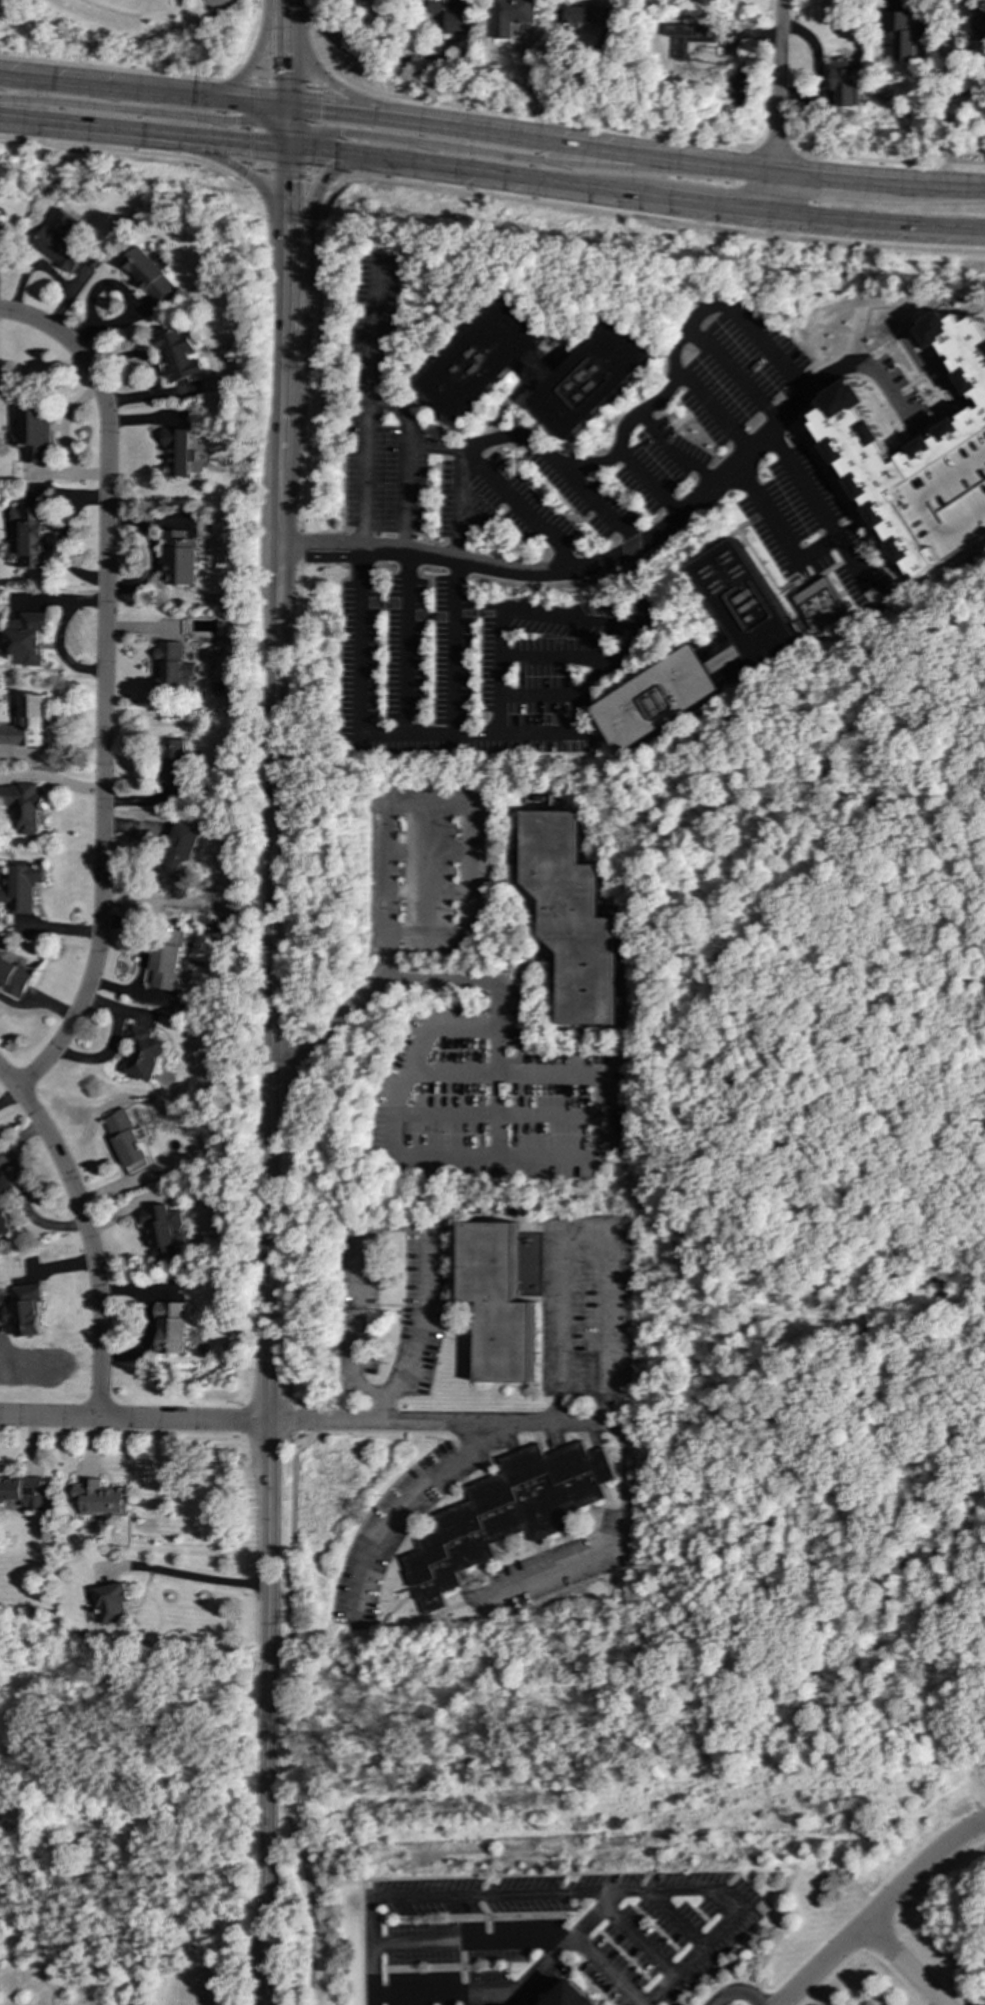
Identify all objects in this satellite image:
road: (213, 4)
road: (267, 8)
road: (285, 8)
building: (451, 14)
road: (276, 16)
building: (510, 16)
building: (589, 16)
road: (285, 23)
building: (978, 26)
building: (904, 34)
park: (131, 38)
building: (699, 39)
road: (363, 55)
road: (248, 67)
road: (285, 67)
road: (121, 70)
traffic signals: (285, 71)
road: (246, 72)
road: (320, 76)
road: (321, 79)
road: (284, 82)
building: (844, 82)
road: (565, 83)
road: (142, 88)
road: (946, 94)
road: (254, 105)
traffic signals: (285, 105)
road: (313, 105)
road: (777, 107)
traffic signals: (318, 109)
road: (329, 110)
road: (144, 112)
road: (539, 117)
traffic signals: (234, 122)
road: (285, 127)
road: (459, 127)
road: (142, 132)
traffic signals: (338, 132)
traffic signals: (248, 144)
road: (158, 145)
road: (310, 148)
road: (253, 149)
road: (124, 150)
road: (775, 151)
road: (321, 153)
road: (499, 154)
road: (659, 156)
road: (889, 161)
road: (281, 170)
road: (248, 177)
traffic signals: (285, 181)
road: (319, 181)
road: (879, 182)
road: (734, 187)
road: (284, 189)
road: (476, 193)
road: (816, 197)
road: (671, 200)
building: (2, 235)
road: (805, 239)
building: (60, 241)
building: (147, 274)
road: (303, 298)
road: (41, 325)
road: (283, 348)
building: (178, 356)
road: (867, 368)
building: (535, 369)
road: (363, 410)
road: (309, 414)
building: (34, 434)
road: (619, 444)
building: (856, 446)
building: (177, 452)
road: (812, 505)
road: (777, 532)
building: (32, 537)
building: (179, 558)
road: (574, 568)
building: (820, 603)
building: (743, 606)
building: (27, 639)
road: (406, 643)
road: (457, 647)
building: (172, 667)
building: (658, 699)
building: (27, 722)
road: (103, 729)
road: (483, 733)
building: (173, 763)
building: (23, 806)
road: (384, 826)
building: (180, 859)
building: (22, 887)
building: (572, 916)
road: (273, 945)
building: (165, 966)
building: (14, 976)
road: (37, 1004)
building: (142, 1055)
road: (484, 1117)
road: (602, 1139)
building: (126, 1141)
road: (419, 1155)
building: (5, 1186)
building: (4, 1223)
road: (401, 1226)
building: (166, 1232)
road: (87, 1233)
building: (497, 1301)
building: (24, 1310)
building: (171, 1326)
road: (293, 1327)
road: (606, 1373)
road: (134, 1420)
building: (23, 1491)
building: (102, 1498)
road: (400, 1507)
building: (506, 1513)
road: (613, 1543)
road: (209, 1579)
building: (112, 1602)
road: (269, 1714)
road: (132, 1815)
road: (439, 1896)
road: (880, 1910)
road: (742, 1911)
road: (470, 1942)
road: (903, 1967)
road: (537, 1968)
road: (607, 1970)
road: (740, 1992)
building: (572, 1996)

